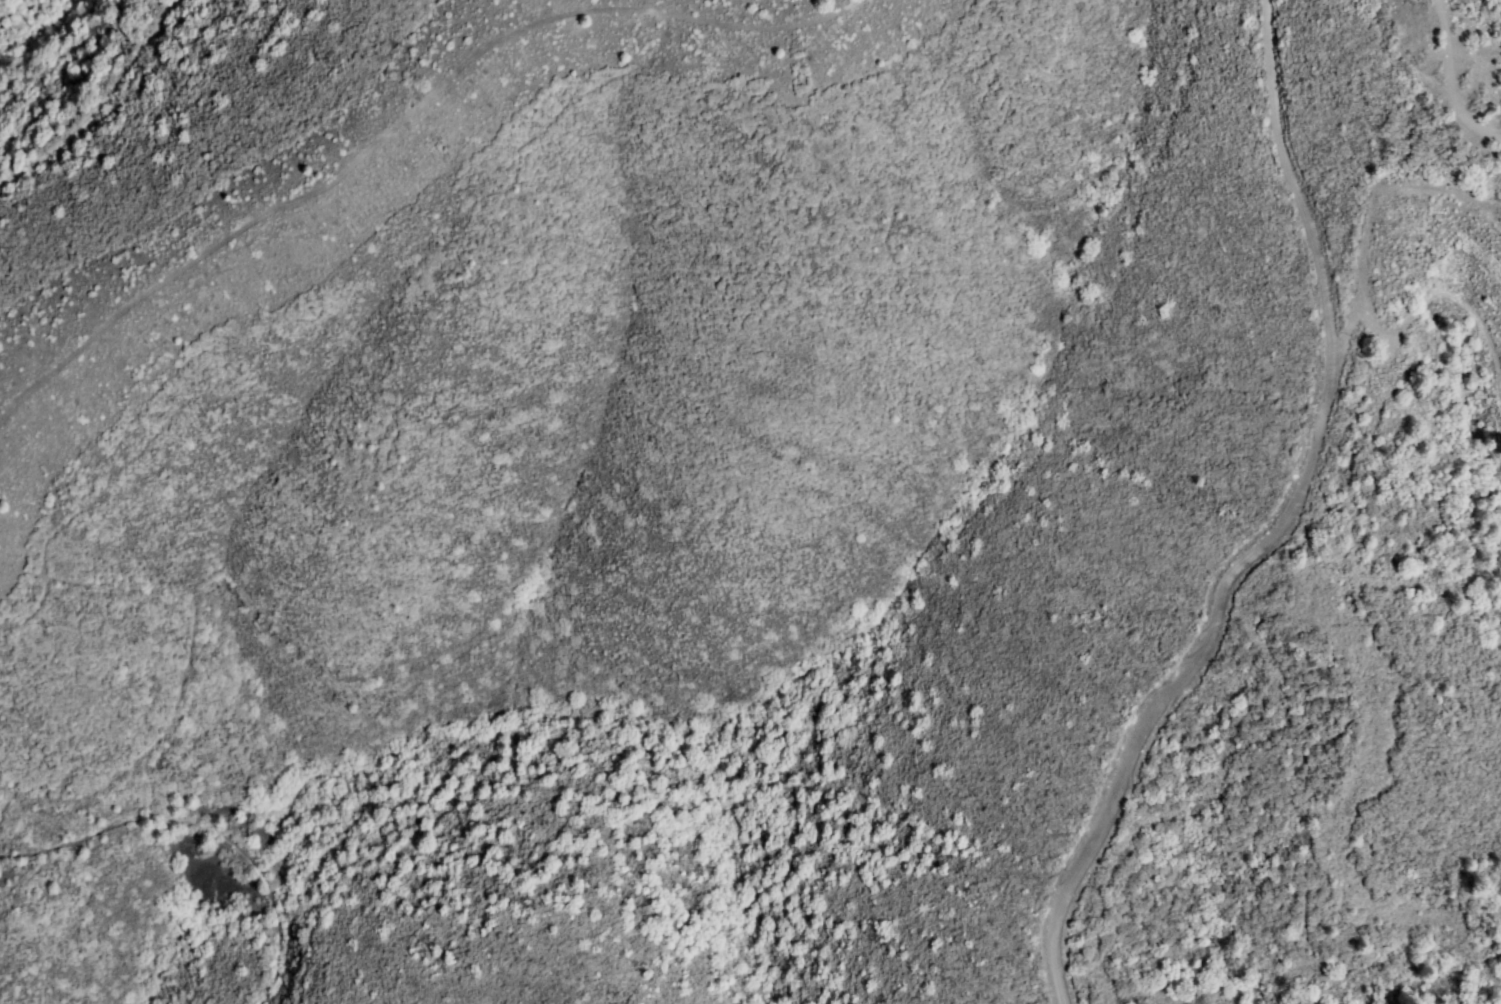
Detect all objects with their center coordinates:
road: (99, 104)
road: (1281, 525)
road: (209, 825)

